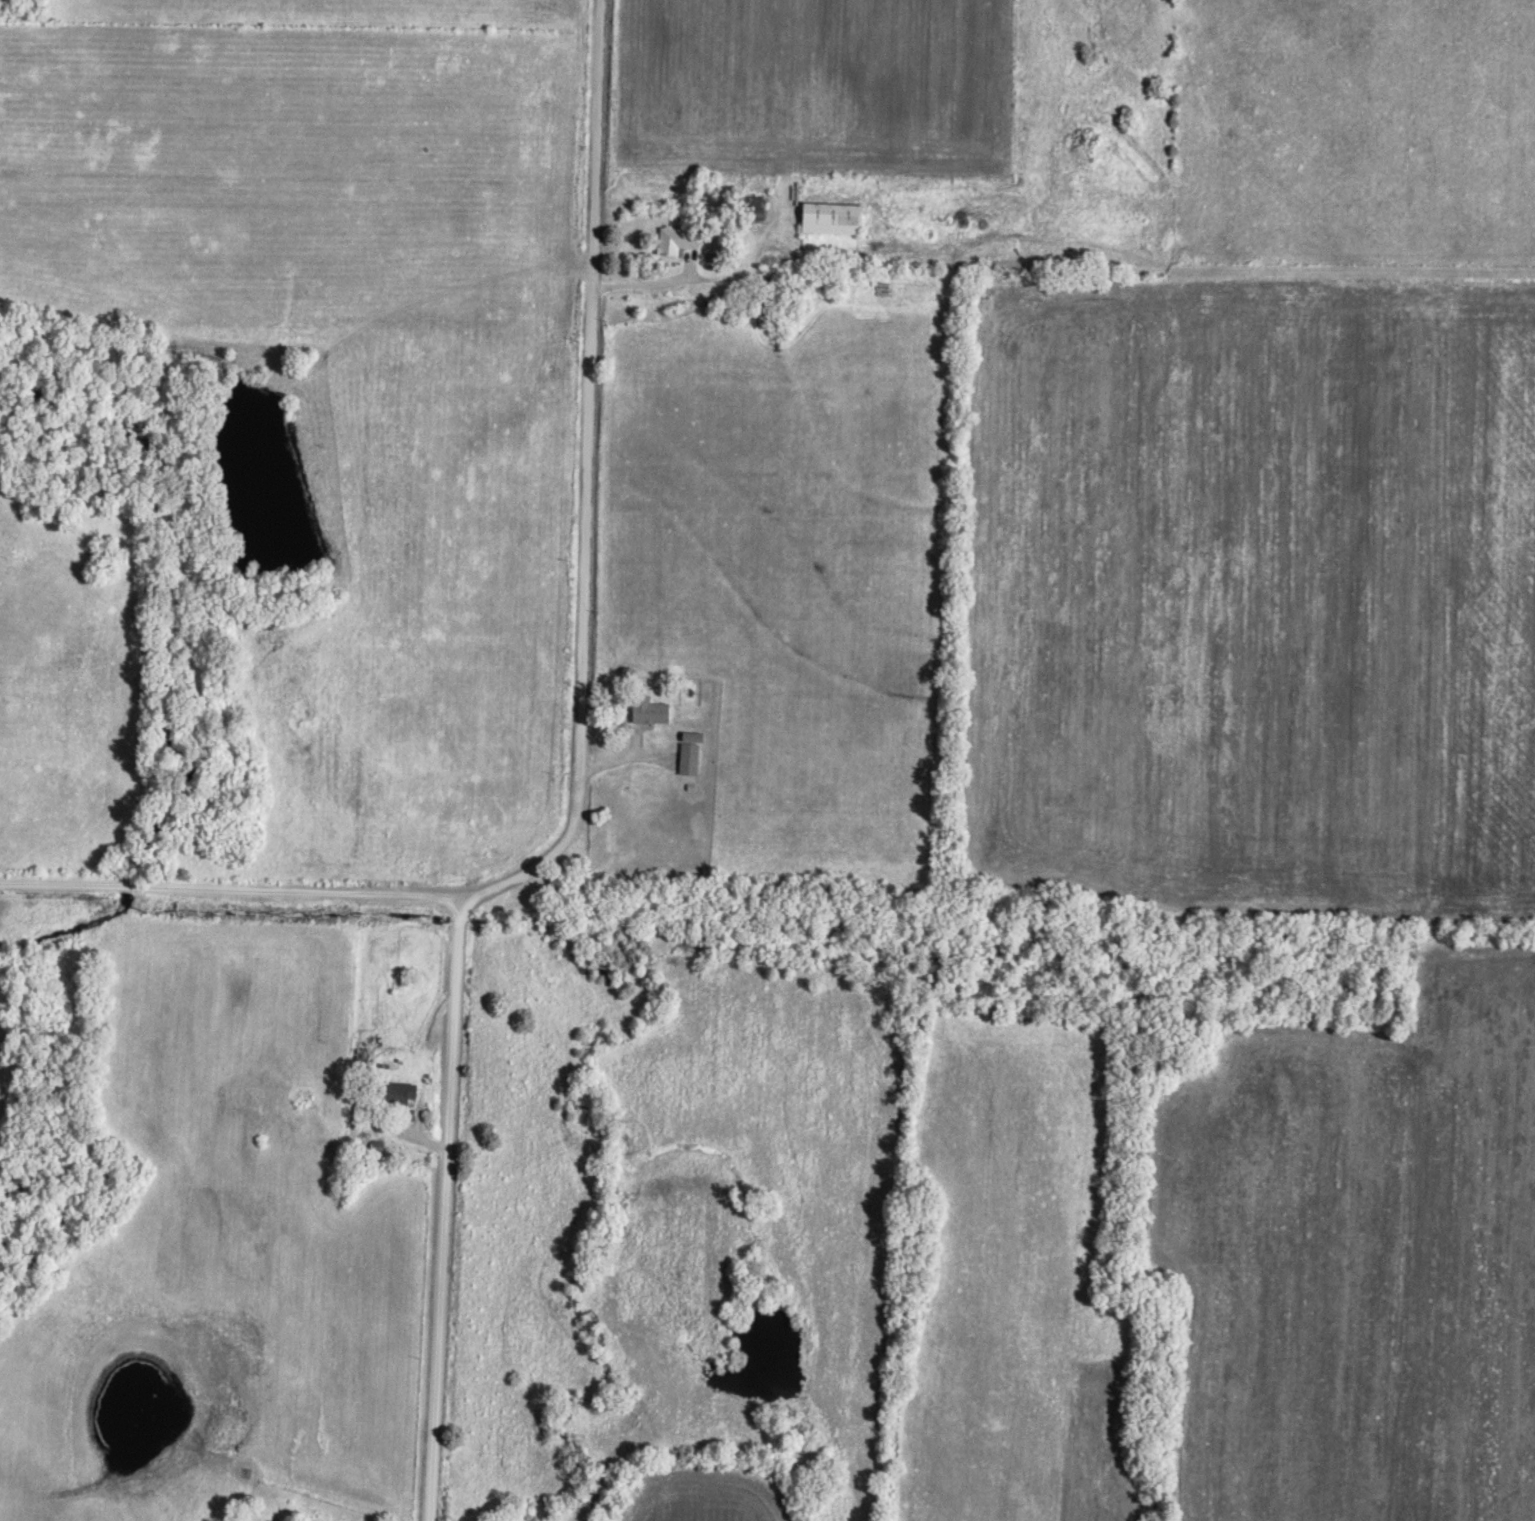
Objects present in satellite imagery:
building: (835, 216)
building: (680, 237)
road: (699, 276)
road: (589, 480)
building: (651, 707)
road: (628, 755)
building: (691, 756)
road: (231, 888)
building: (399, 1092)
road: (449, 1209)

